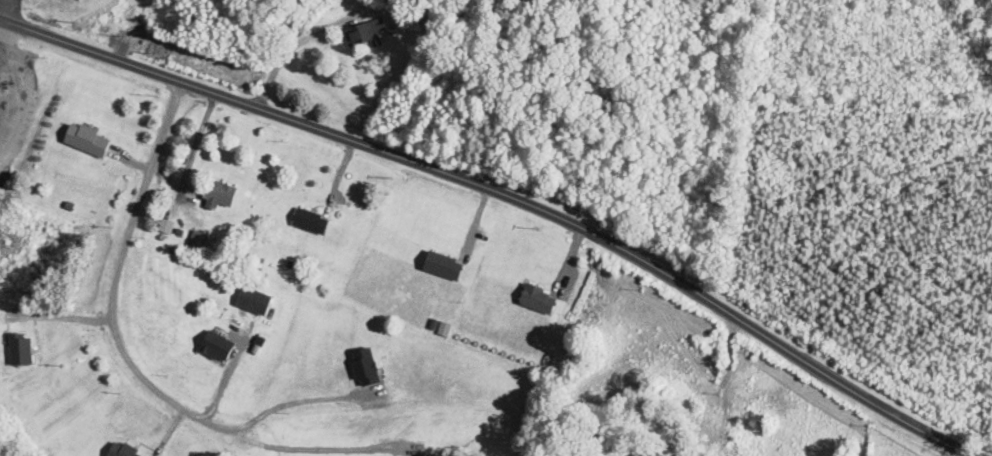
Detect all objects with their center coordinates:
road: (3, 28)
building: (366, 33)
road: (16, 90)
building: (88, 141)
building: (219, 196)
road: (492, 196)
building: (312, 222)
building: (165, 229)
building: (199, 242)
building: (444, 267)
building: (539, 300)
building: (21, 350)
building: (123, 449)

